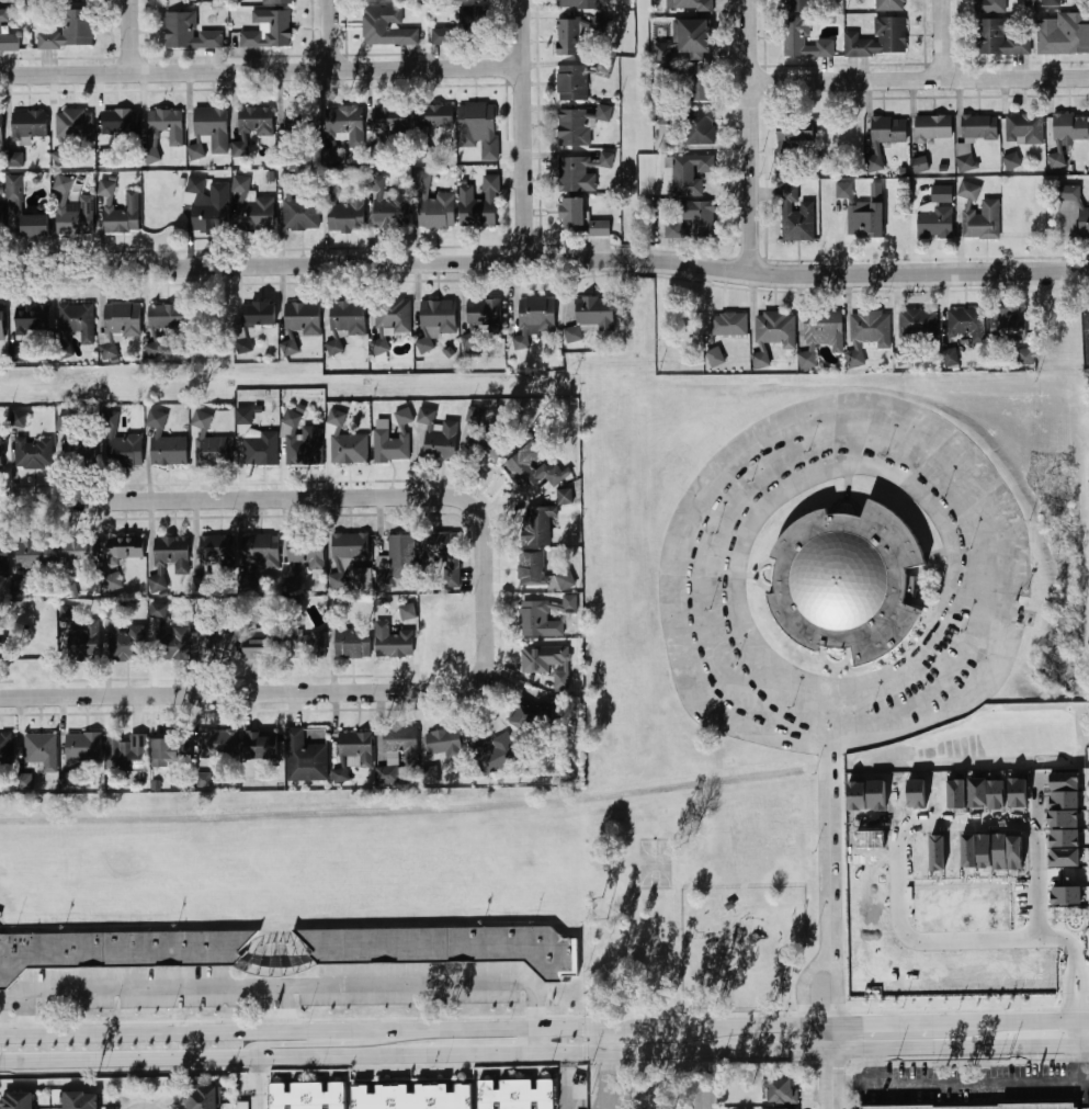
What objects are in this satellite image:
building: (466, 0)
building: (379, 1)
building: (277, 2)
building: (1052, 2)
building: (578, 4)
building: (689, 5)
building: (799, 5)
building: (889, 5)
building: (990, 7)
building: (465, 27)
building: (386, 29)
building: (268, 30)
building: (70, 31)
building: (189, 33)
building: (7, 34)
road: (333, 34)
building: (1064, 34)
road: (134, 35)
building: (569, 37)
building: (1000, 38)
building: (880, 39)
road: (944, 39)
building: (687, 41)
building: (804, 41)
road: (262, 69)
road: (920, 79)
building: (688, 82)
building: (571, 83)
building: (434, 116)
building: (666, 117)
building: (389, 121)
building: (343, 123)
building: (166, 124)
building: (300, 124)
building: (30, 125)
building: (122, 125)
building: (72, 126)
building: (251, 127)
building: (699, 127)
building: (933, 127)
building: (979, 127)
building: (478, 128)
building: (574, 128)
building: (1, 129)
building: (211, 129)
road: (525, 129)
building: (1024, 129)
building: (1067, 135)
road: (752, 136)
building: (884, 138)
building: (791, 145)
building: (196, 151)
building: (61, 157)
building: (105, 158)
building: (13, 160)
building: (1012, 160)
building: (965, 163)
building: (920, 165)
building: (691, 173)
building: (577, 174)
building: (1068, 193)
building: (941, 194)
building: (479, 204)
building: (432, 205)
building: (206, 206)
building: (252, 207)
building: (118, 211)
building: (302, 212)
building: (347, 212)
building: (390, 213)
building: (572, 213)
building: (978, 214)
building: (796, 216)
building: (860, 216)
building: (75, 217)
building: (2, 218)
building: (692, 220)
building: (1084, 222)
building: (934, 224)
building: (34, 226)
building: (600, 229)
road: (544, 259)
building: (536, 315)
building: (166, 316)
building: (592, 317)
building: (348, 318)
building: (32, 319)
building: (303, 319)
building: (76, 320)
building: (389, 320)
building: (436, 320)
building: (481, 321)
building: (1, 322)
building: (252, 322)
building: (966, 324)
building: (118, 325)
building: (728, 325)
building: (918, 325)
building: (1008, 326)
building: (772, 333)
building: (866, 333)
building: (820, 335)
building: (1087, 335)
building: (334, 347)
building: (288, 348)
building: (155, 350)
building: (19, 353)
building: (716, 357)
building: (951, 357)
building: (1026, 357)
building: (476, 415)
building: (242, 416)
building: (19, 419)
building: (201, 421)
building: (65, 423)
road: (808, 435)
building: (436, 438)
building: (166, 444)
building: (485, 444)
building: (309, 445)
building: (389, 448)
building: (260, 449)
building: (86, 450)
building: (350, 450)
building: (125, 451)
building: (215, 451)
building: (0, 452)
building: (34, 454)
road: (855, 469)
building: (554, 474)
building: (564, 497)
road: (281, 498)
building: (536, 527)
building: (350, 545)
building: (126, 548)
building: (305, 548)
building: (216, 550)
building: (261, 551)
building: (172, 552)
building: (443, 553)
building: (81, 555)
building: (4, 558)
building: (31, 562)
building: (396, 563)
building: (531, 568)
building: (360, 579)
building: (113, 581)
building: (203, 581)
building: (158, 582)
building: (850, 584)
building: (203, 611)
building: (407, 611)
building: (536, 620)
building: (79, 635)
building: (169, 637)
building: (218, 641)
building: (352, 641)
building: (126, 642)
building: (393, 642)
building: (258, 644)
building: (305, 645)
building: (541, 658)
building: (560, 679)
road: (287, 693)
building: (524, 715)
building: (399, 738)
building: (443, 743)
building: (216, 745)
building: (260, 745)
building: (82, 747)
building: (354, 748)
building: (4, 749)
building: (167, 749)
building: (41, 750)
building: (492, 751)
building: (126, 752)
building: (304, 758)
building: (341, 776)
building: (24, 781)
road: (829, 817)
road: (898, 881)
building: (445, 946)
building: (117, 949)
road: (826, 953)
road: (283, 985)
road: (288, 1008)
road: (264, 1009)
road: (1029, 1022)
road: (901, 1025)
road: (768, 1027)
road: (655, 1028)
road: (489, 1029)
road: (322, 1031)
road: (136, 1034)
road: (1088, 1034)
road: (534, 1042)
road: (608, 1042)
road: (260, 1043)
road: (960, 1050)
road: (774, 1053)
road: (626, 1054)
road: (462, 1056)
road: (194, 1059)
road: (831, 1067)
road: (872, 1068)
road: (1088, 1077)
road: (565, 1082)
road: (608, 1082)
road: (708, 1082)
road: (257, 1084)
road: (958, 1084)
building: (782, 1090)
building: (308, 1095)
building: (518, 1095)
building: (412, 1096)
building: (580, 1096)
building: (203, 1098)
building: (16, 1100)
building: (82, 1100)
building: (243, 1105)
building: (991, 1107)

